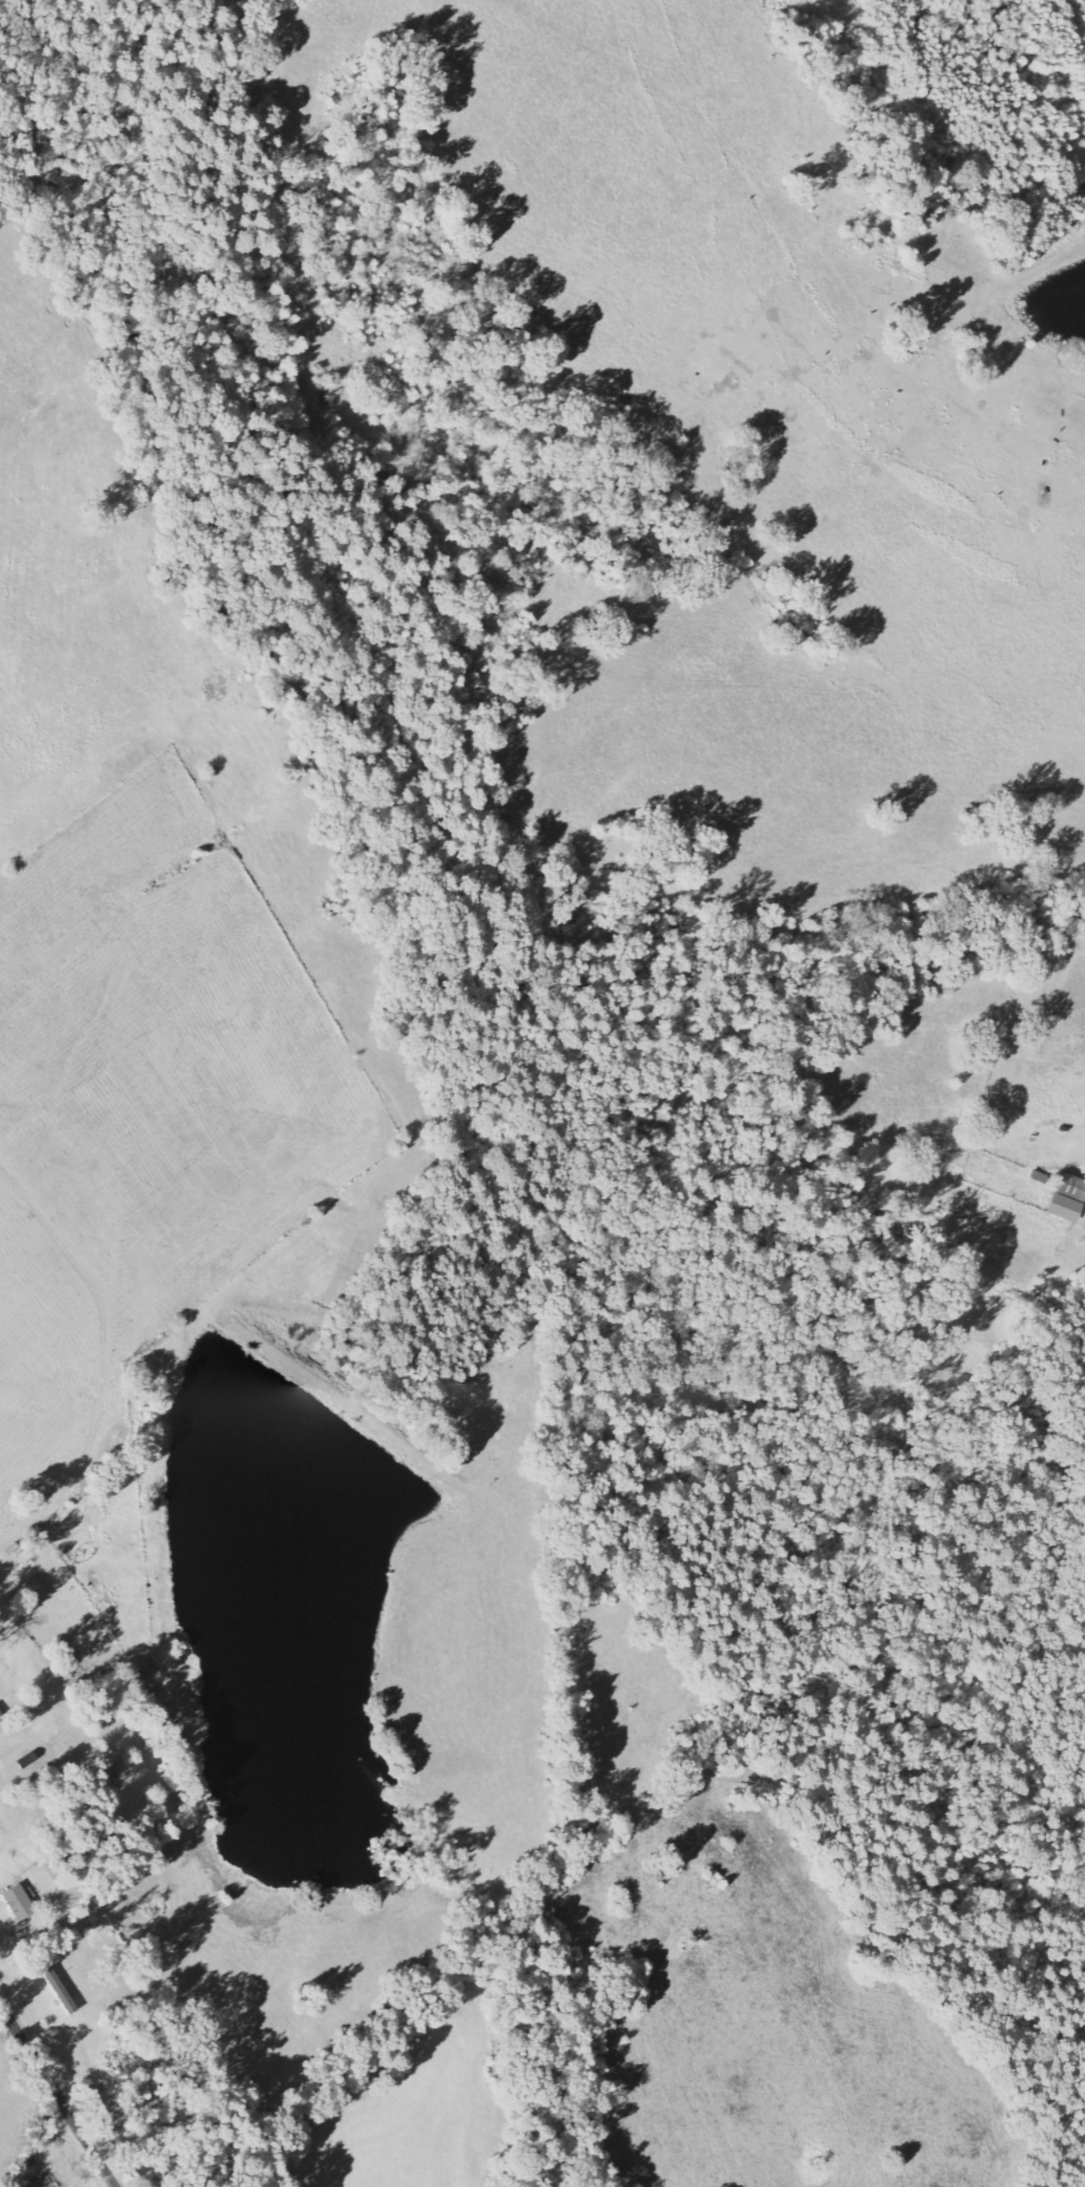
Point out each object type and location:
building: (1068, 1200)
building: (19, 1904)
building: (59, 1991)
road: (41, 2103)
building: (45, 2183)

